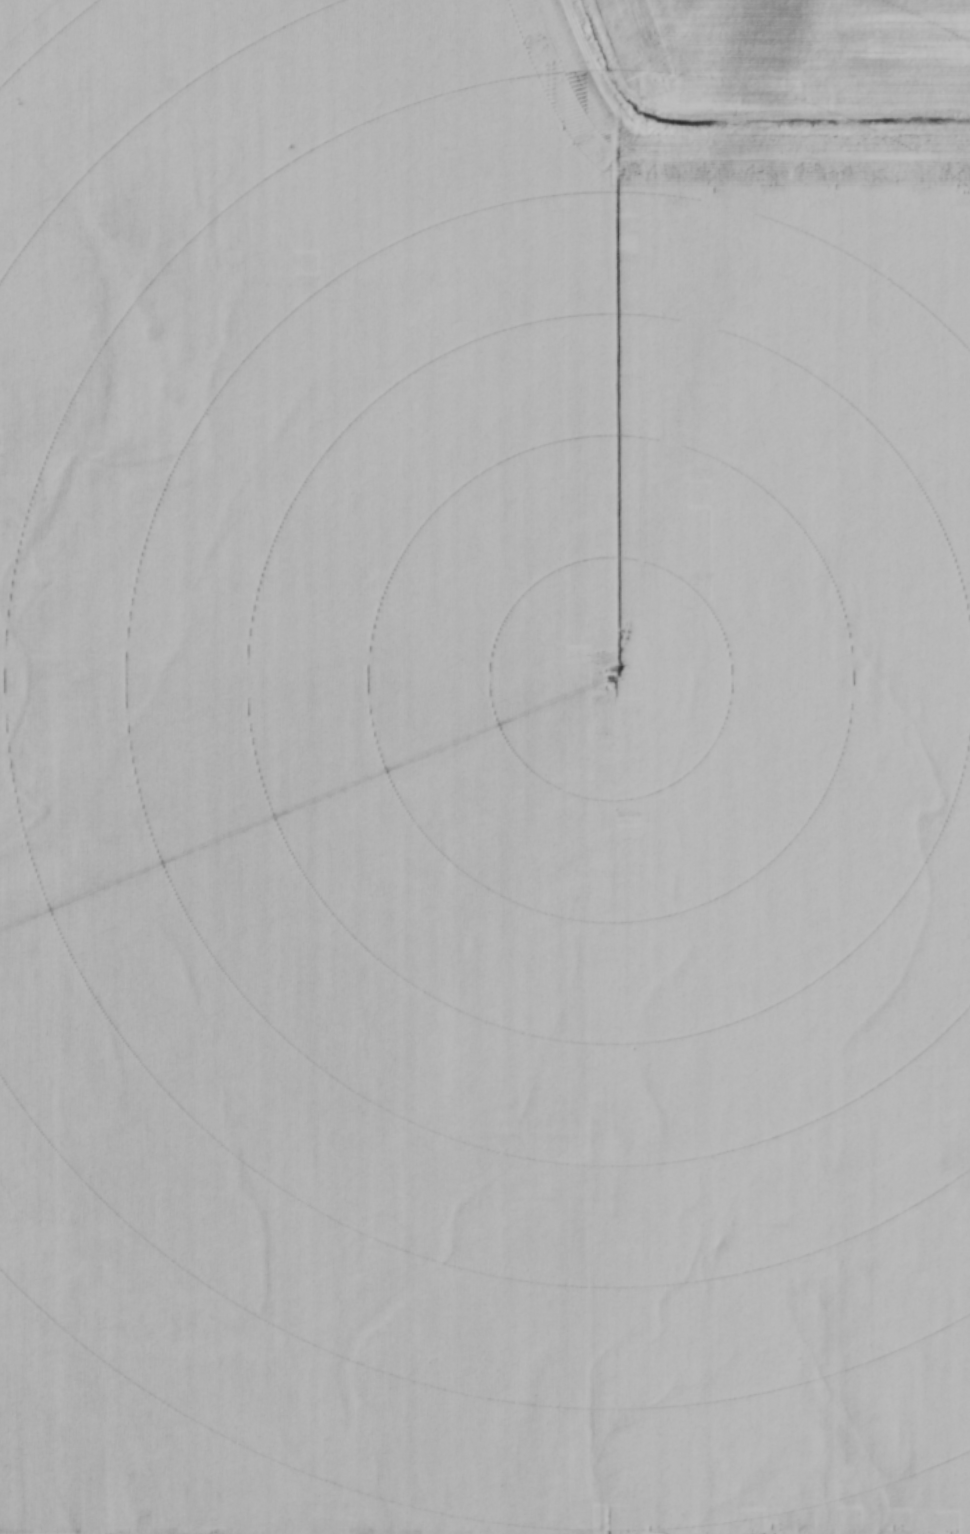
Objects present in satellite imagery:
river: (736, 125)

